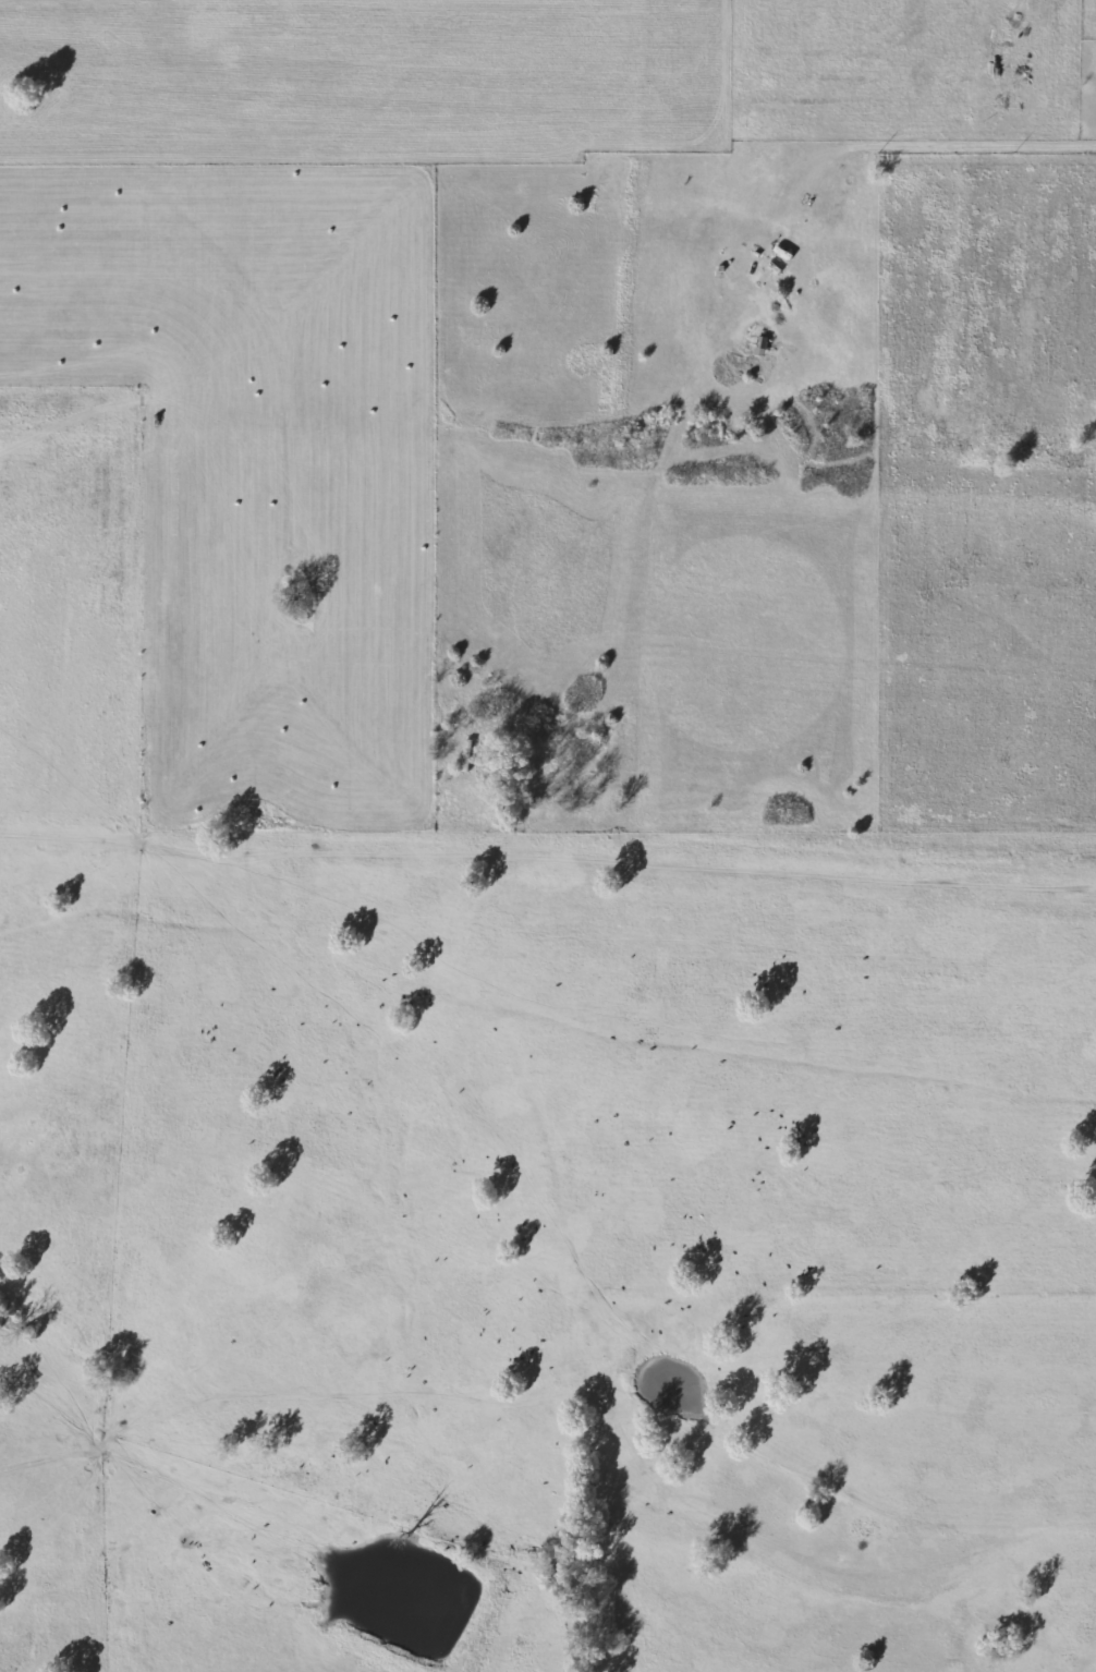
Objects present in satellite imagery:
building: (1061, 77)
building: (468, 755)

